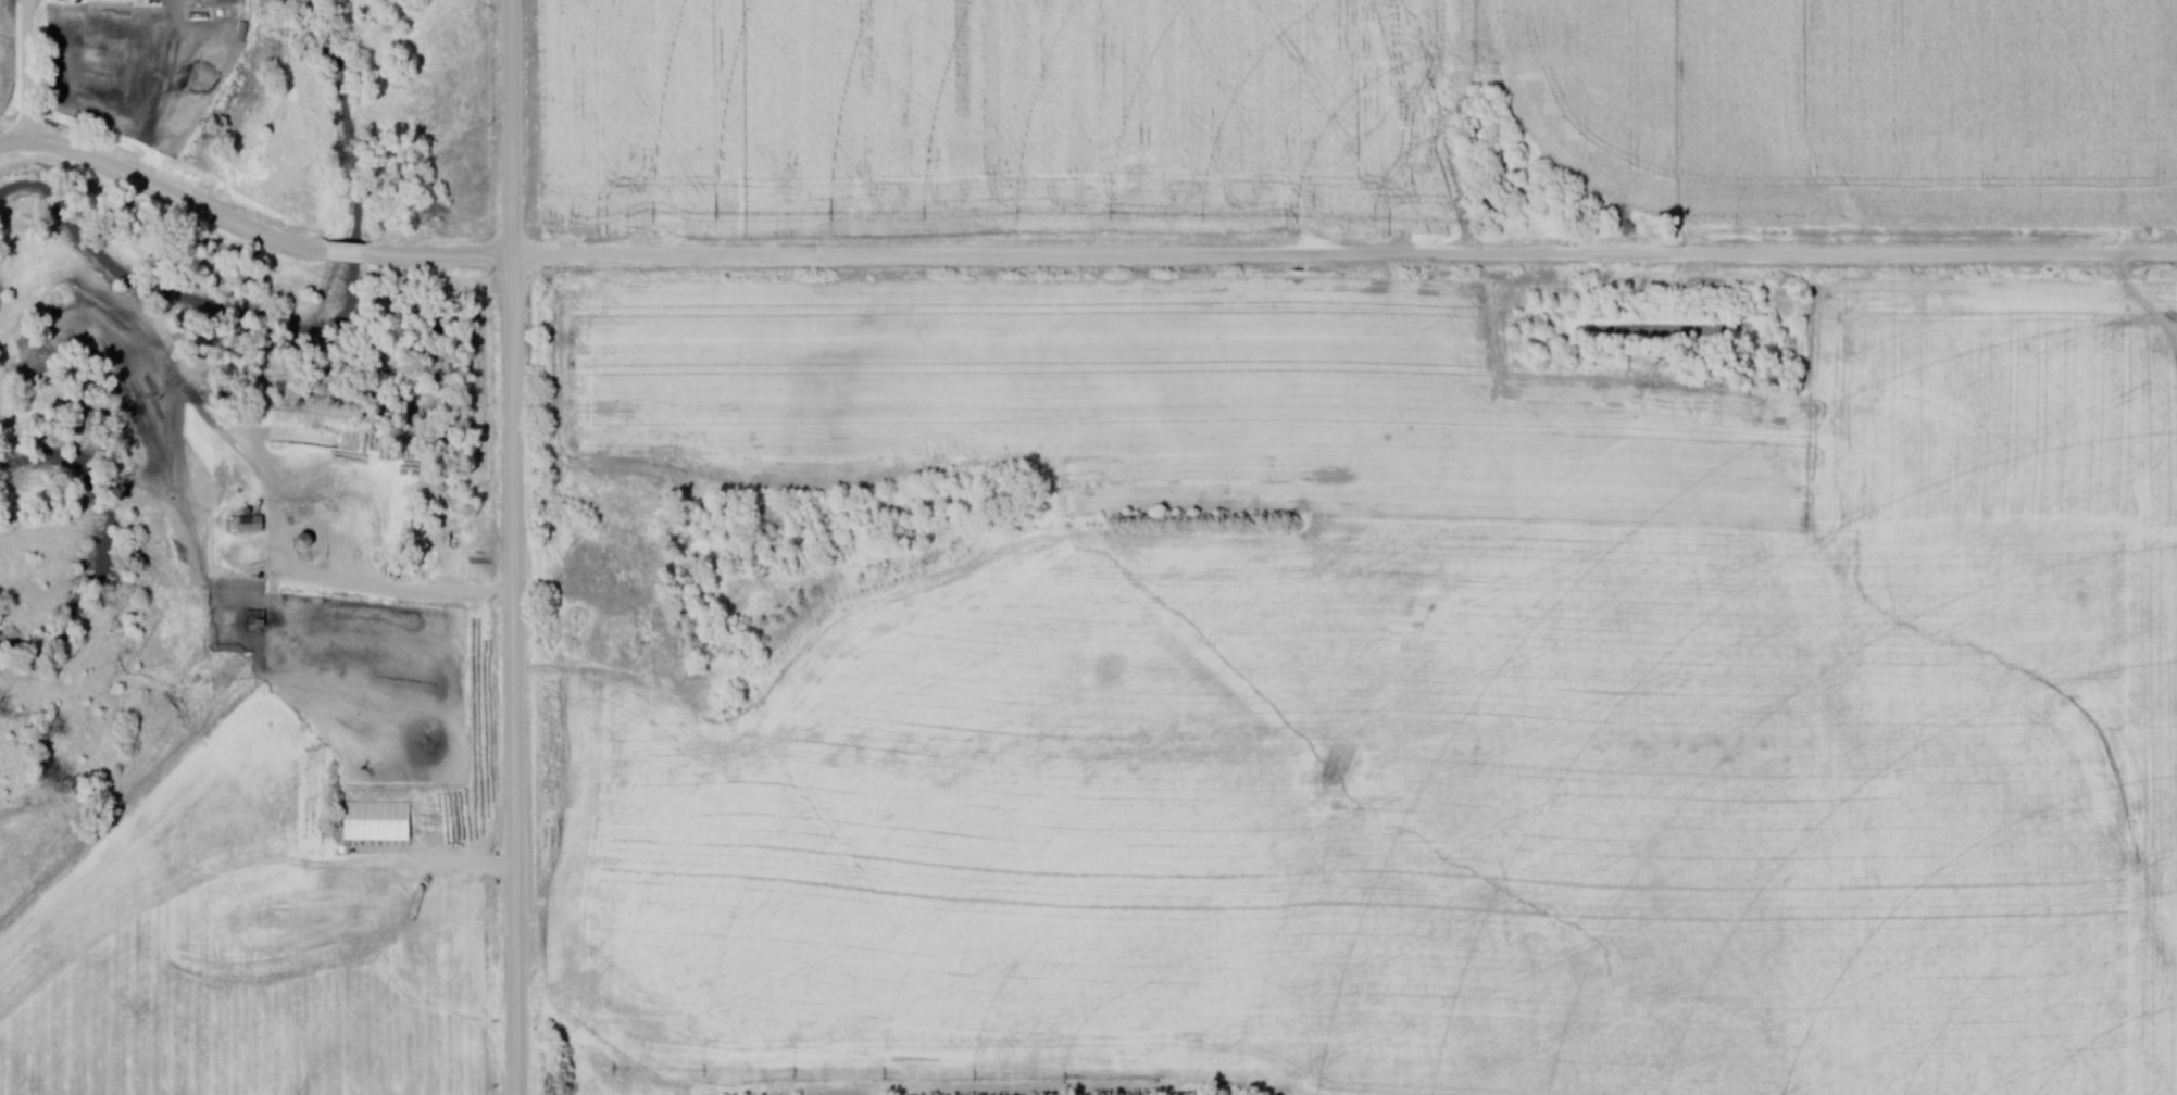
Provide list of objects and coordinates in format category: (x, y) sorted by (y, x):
road: (28, 72)
road: (502, 130)
road: (1077, 256)
building: (248, 525)
road: (391, 590)
building: (258, 618)
road: (511, 678)
building: (379, 820)

